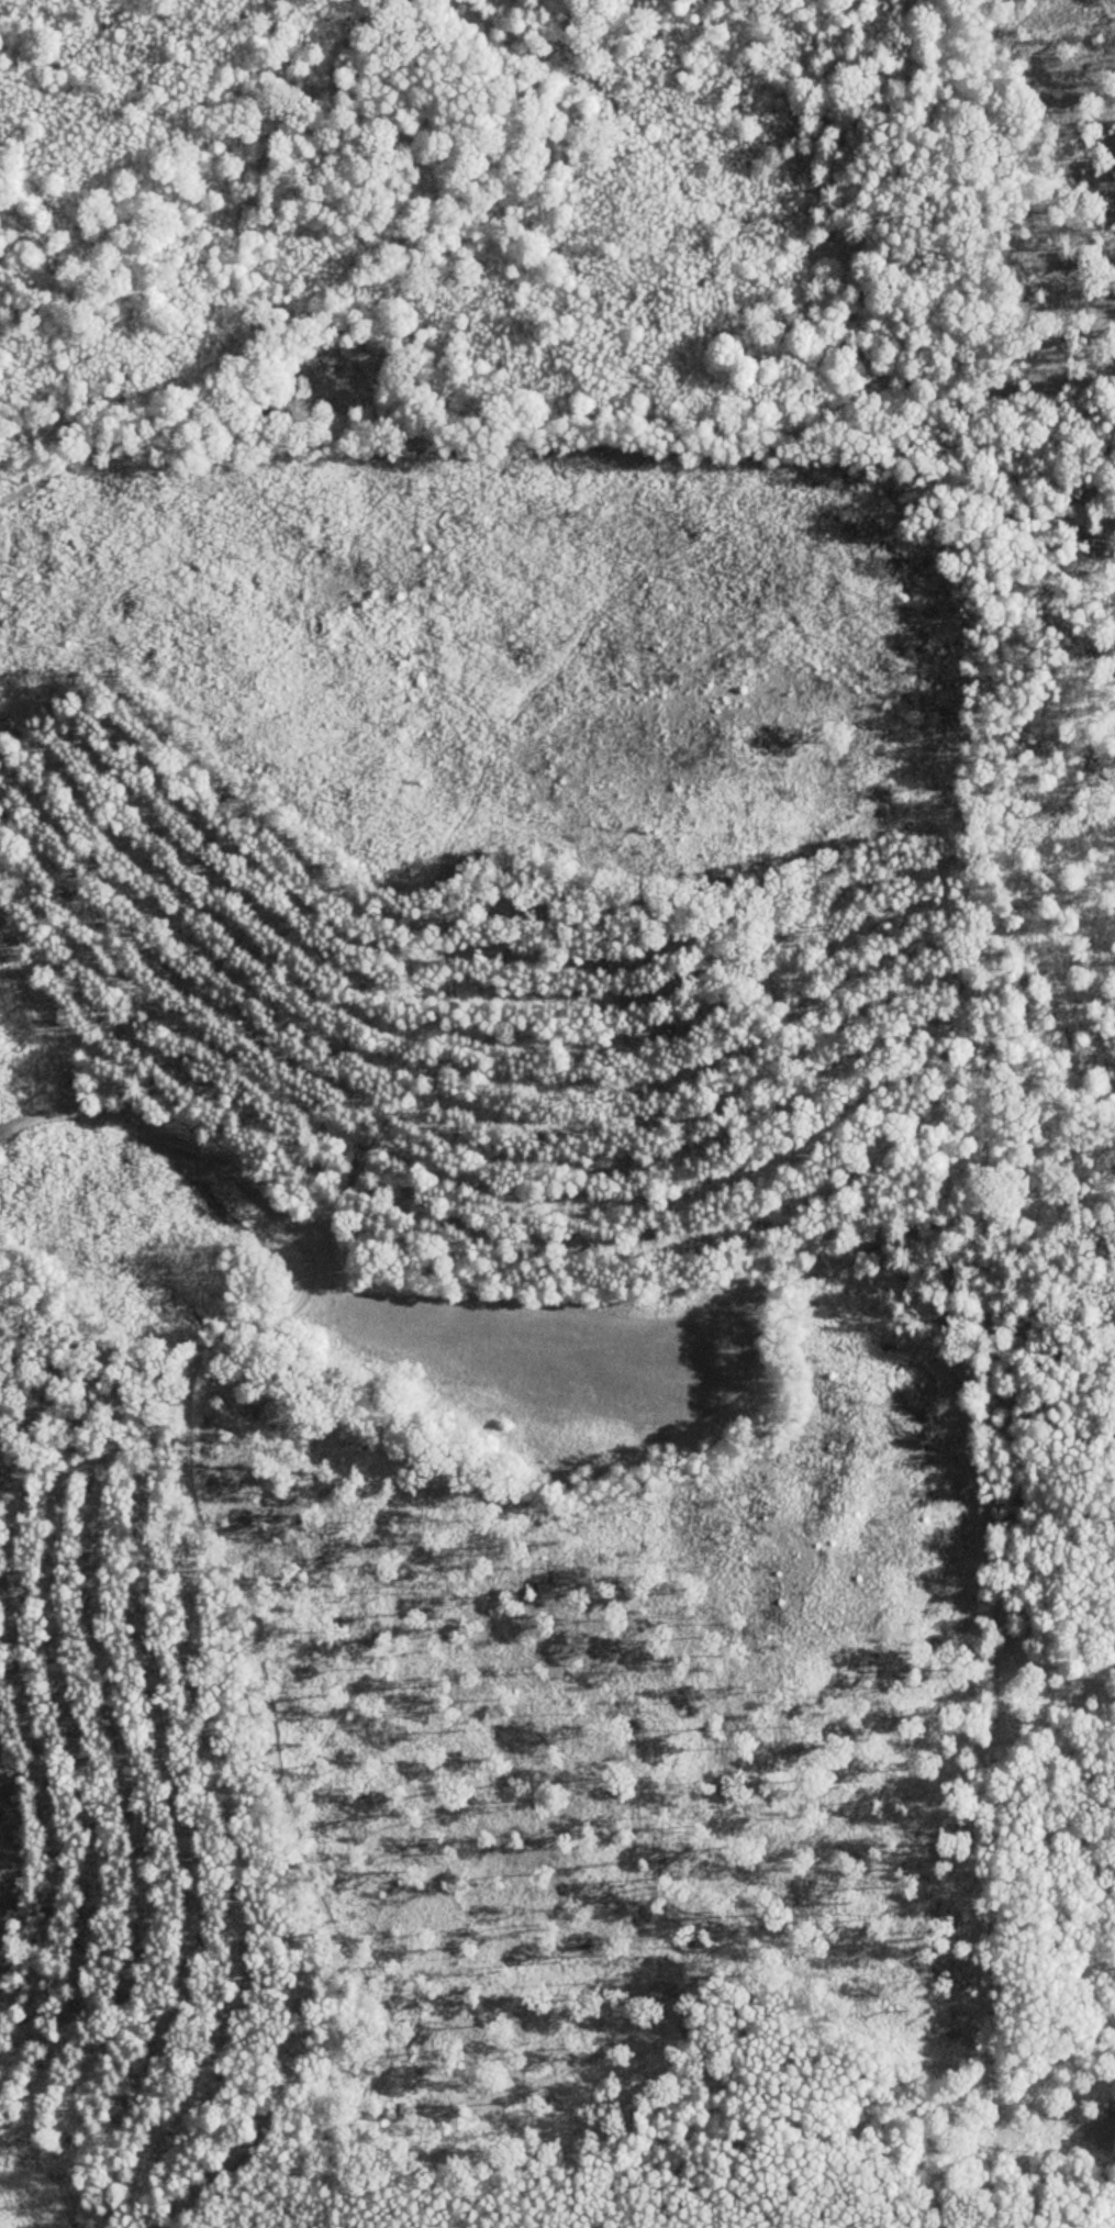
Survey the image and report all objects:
road: (923, 75)
road: (592, 83)
road: (778, 191)
road: (983, 767)
road: (468, 1292)
road: (276, 1748)

